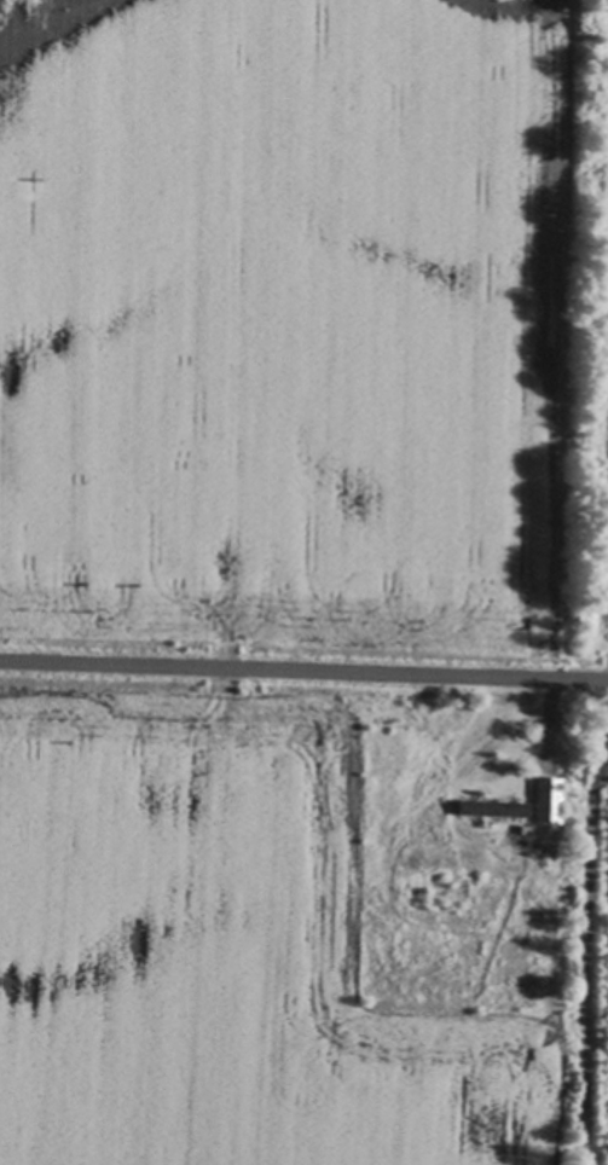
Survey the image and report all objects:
road: (303, 672)
building: (545, 795)
building: (490, 805)

